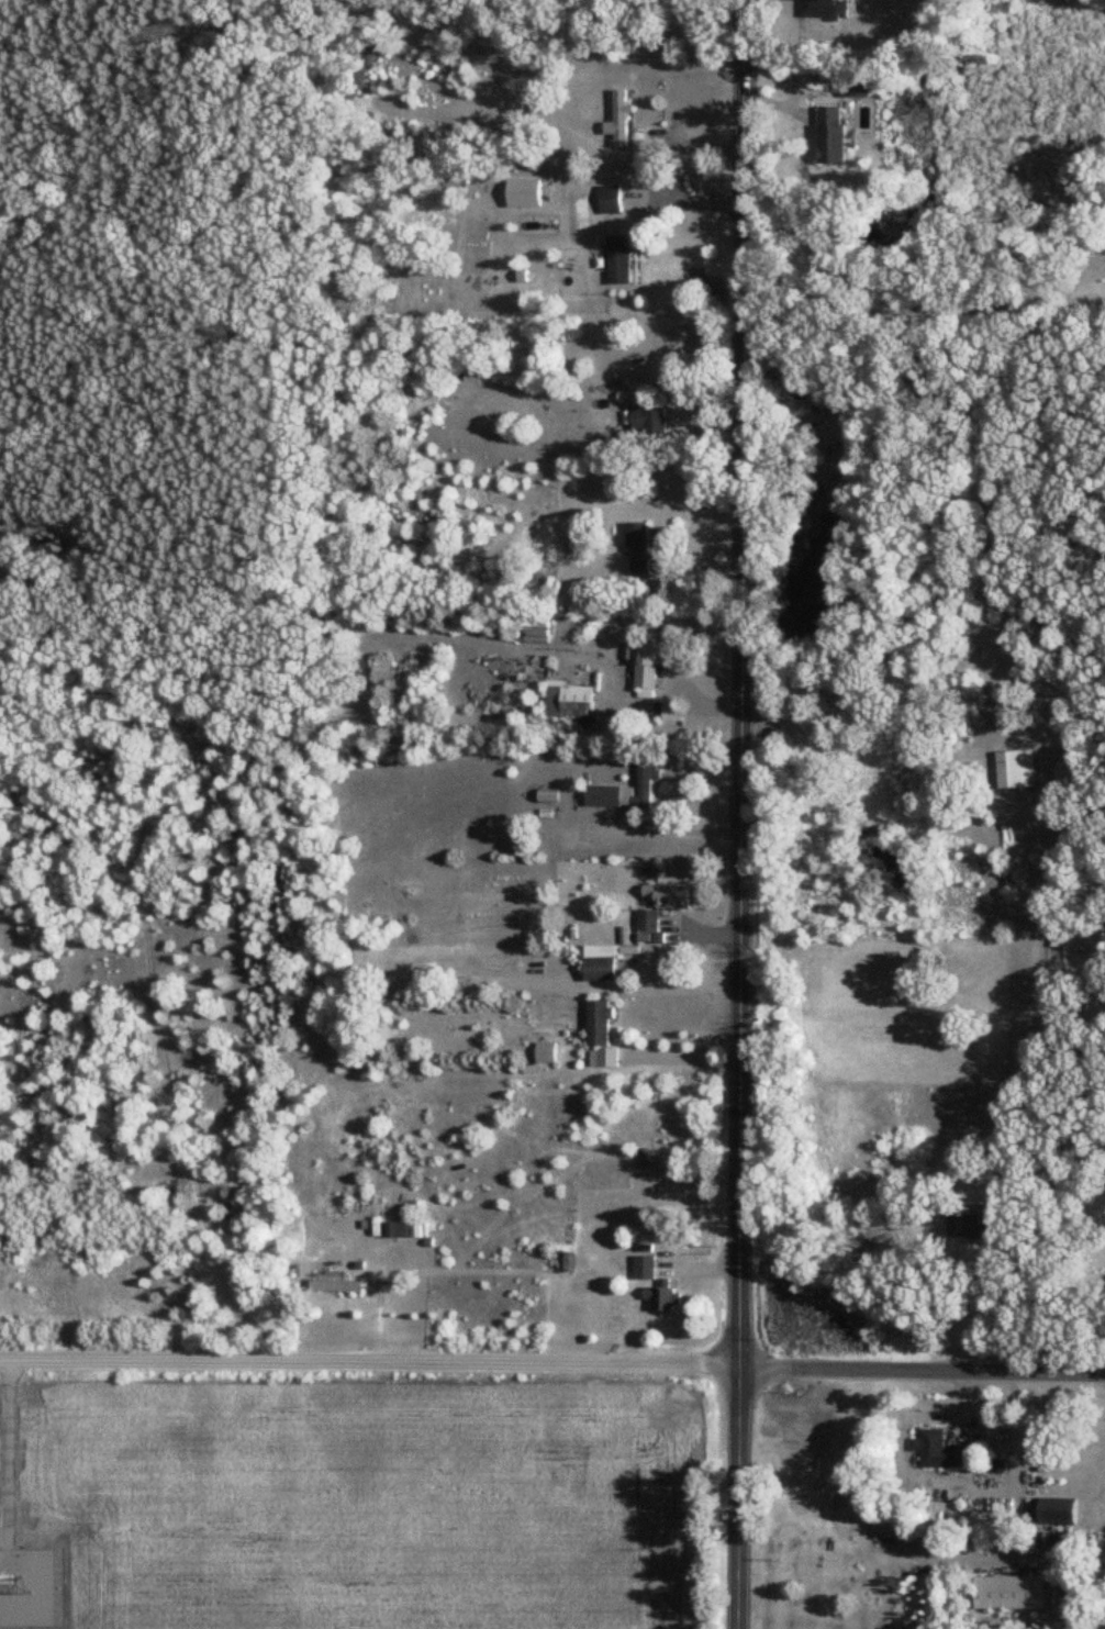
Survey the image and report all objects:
building: (831, 10)
building: (618, 122)
building: (830, 137)
building: (523, 194)
building: (609, 201)
building: (617, 261)
road: (905, 312)
building: (649, 421)
building: (637, 549)
building: (535, 631)
building: (646, 672)
building: (569, 703)
building: (668, 718)
building: (1016, 770)
building: (1062, 773)
building: (626, 794)
road: (740, 814)
road: (662, 817)
building: (671, 897)
building: (646, 925)
building: (599, 970)
building: (598, 1037)
building: (544, 1052)
building: (973, 1227)
building: (398, 1230)
building: (644, 1269)
building: (335, 1286)
building: (660, 1298)
road: (980, 1310)
road: (551, 1365)
building: (936, 1451)
building: (1059, 1515)
building: (1057, 1544)
building: (1009, 1594)

